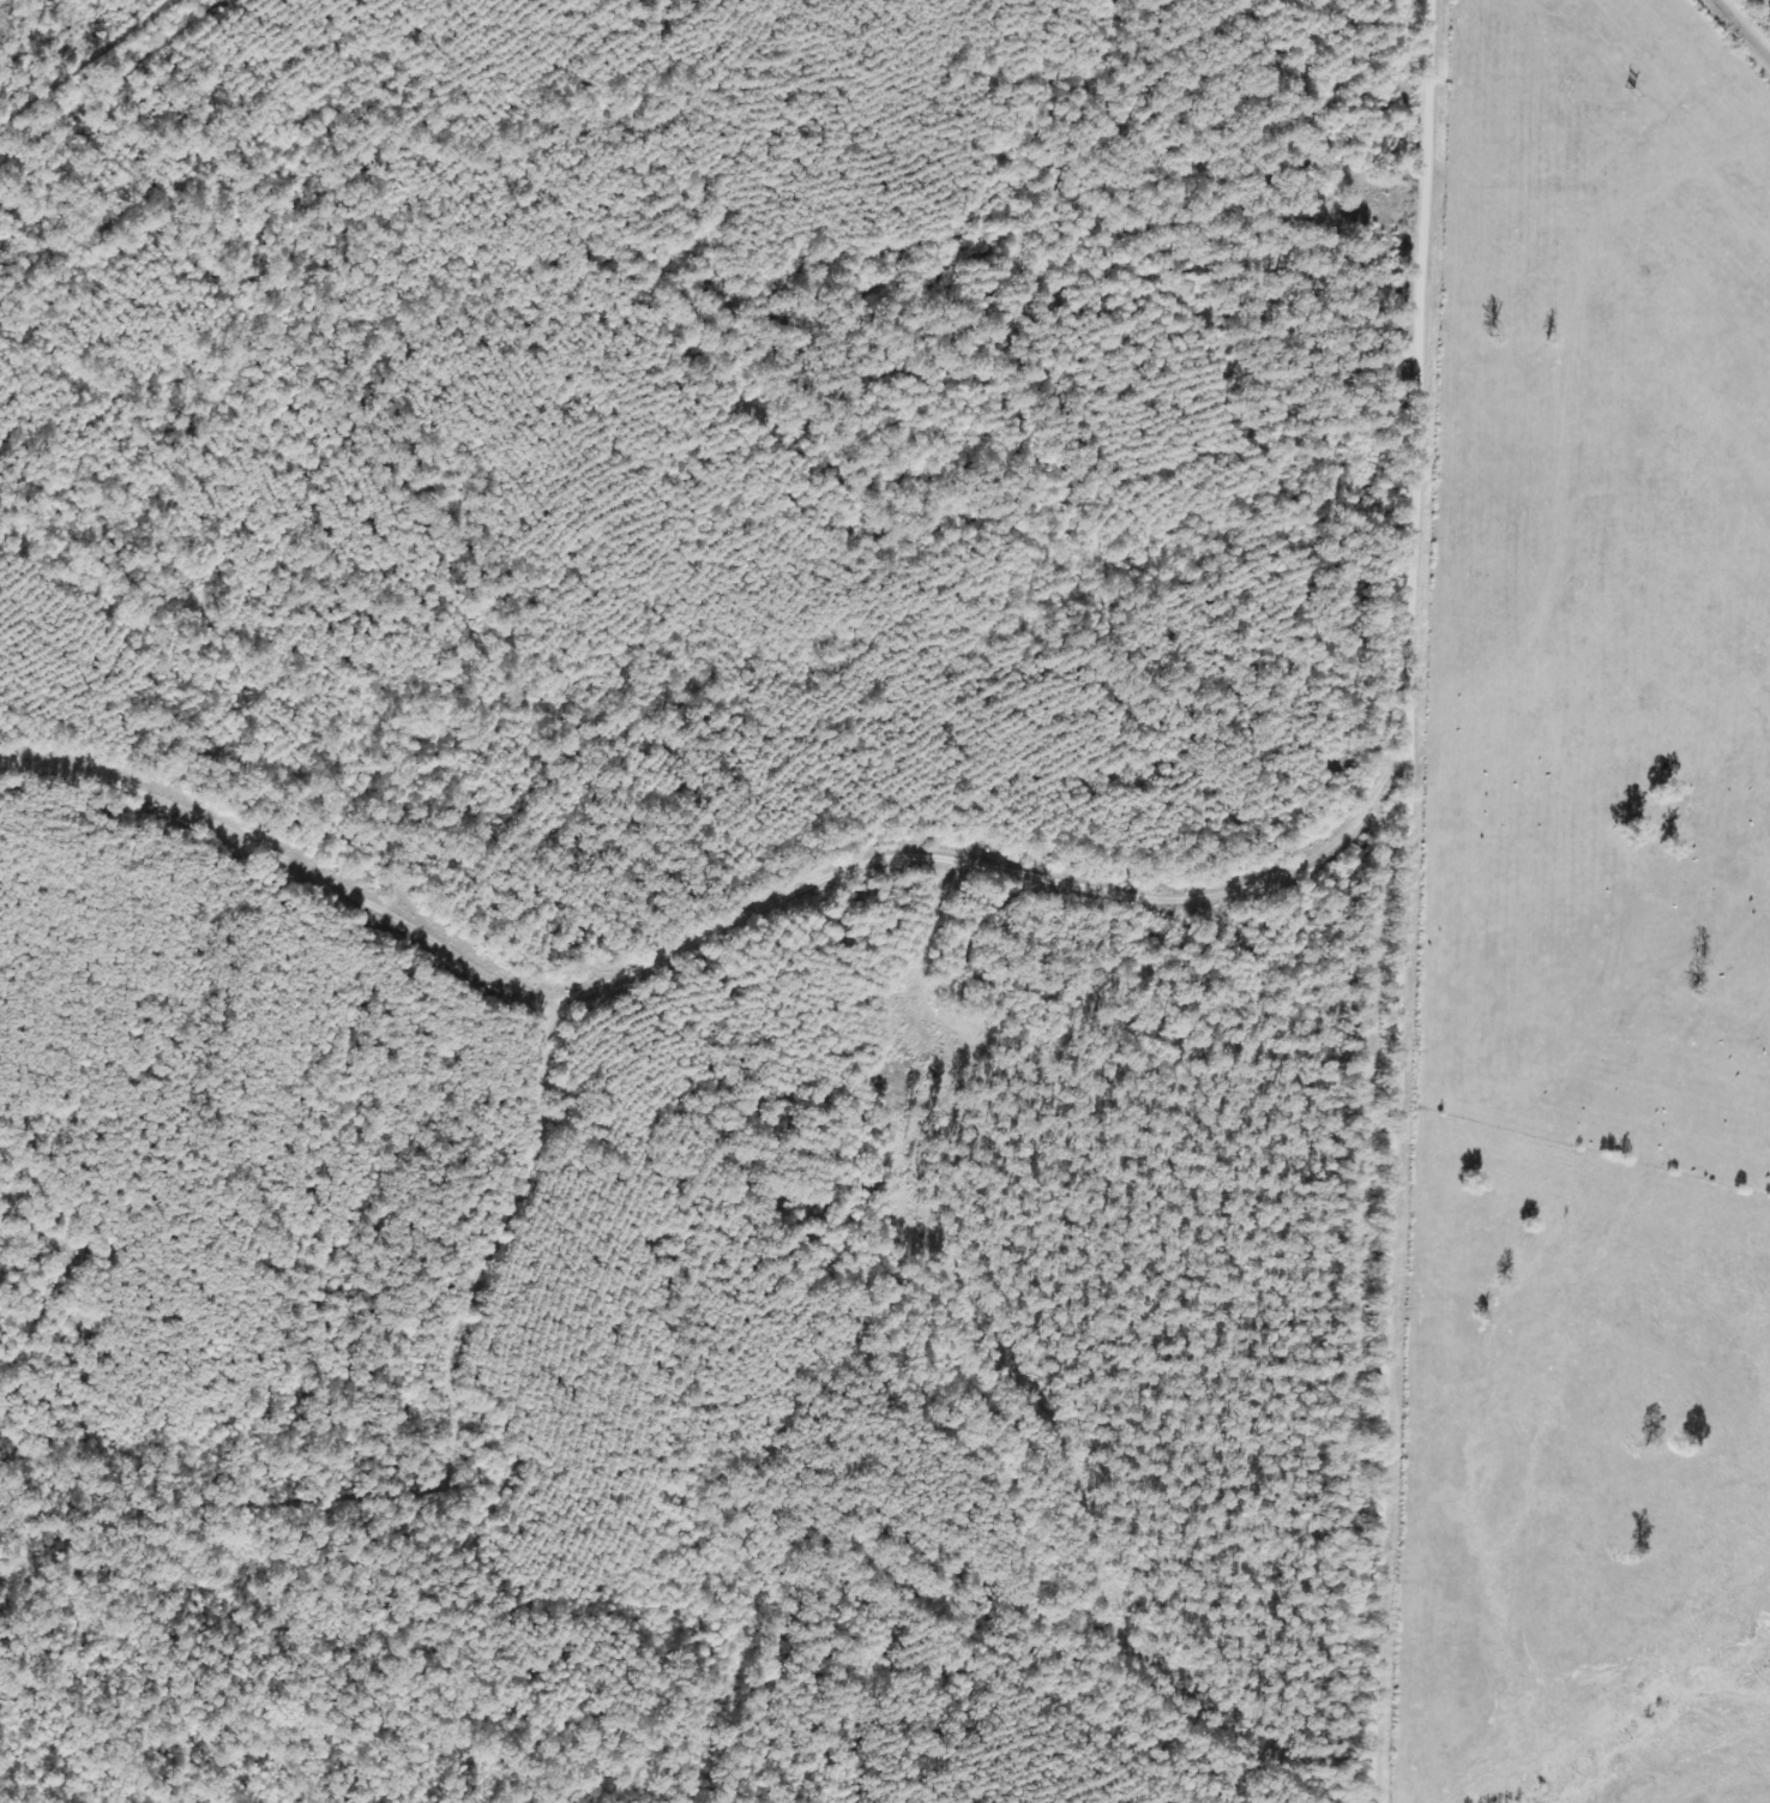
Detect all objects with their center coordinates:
road: (1736, 36)
road: (1417, 900)

